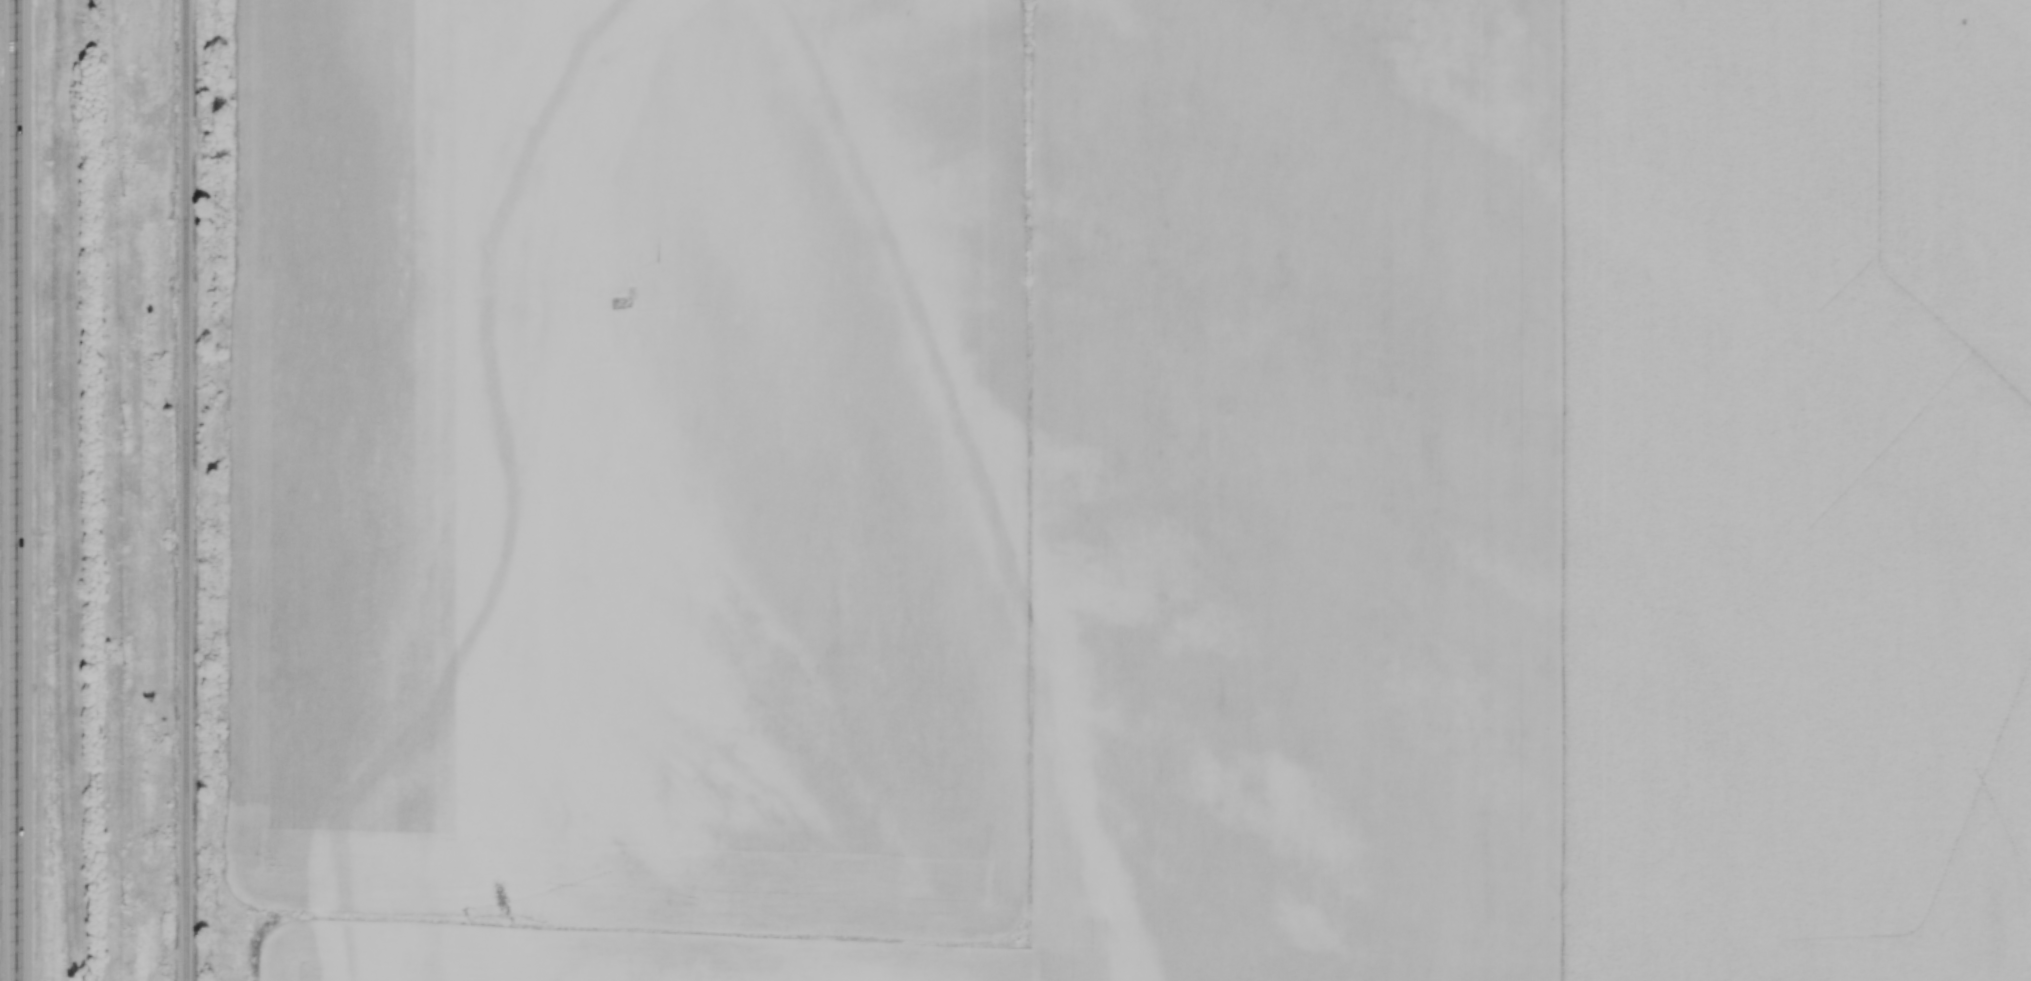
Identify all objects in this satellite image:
road: (16, 490)
railway: (186, 490)

